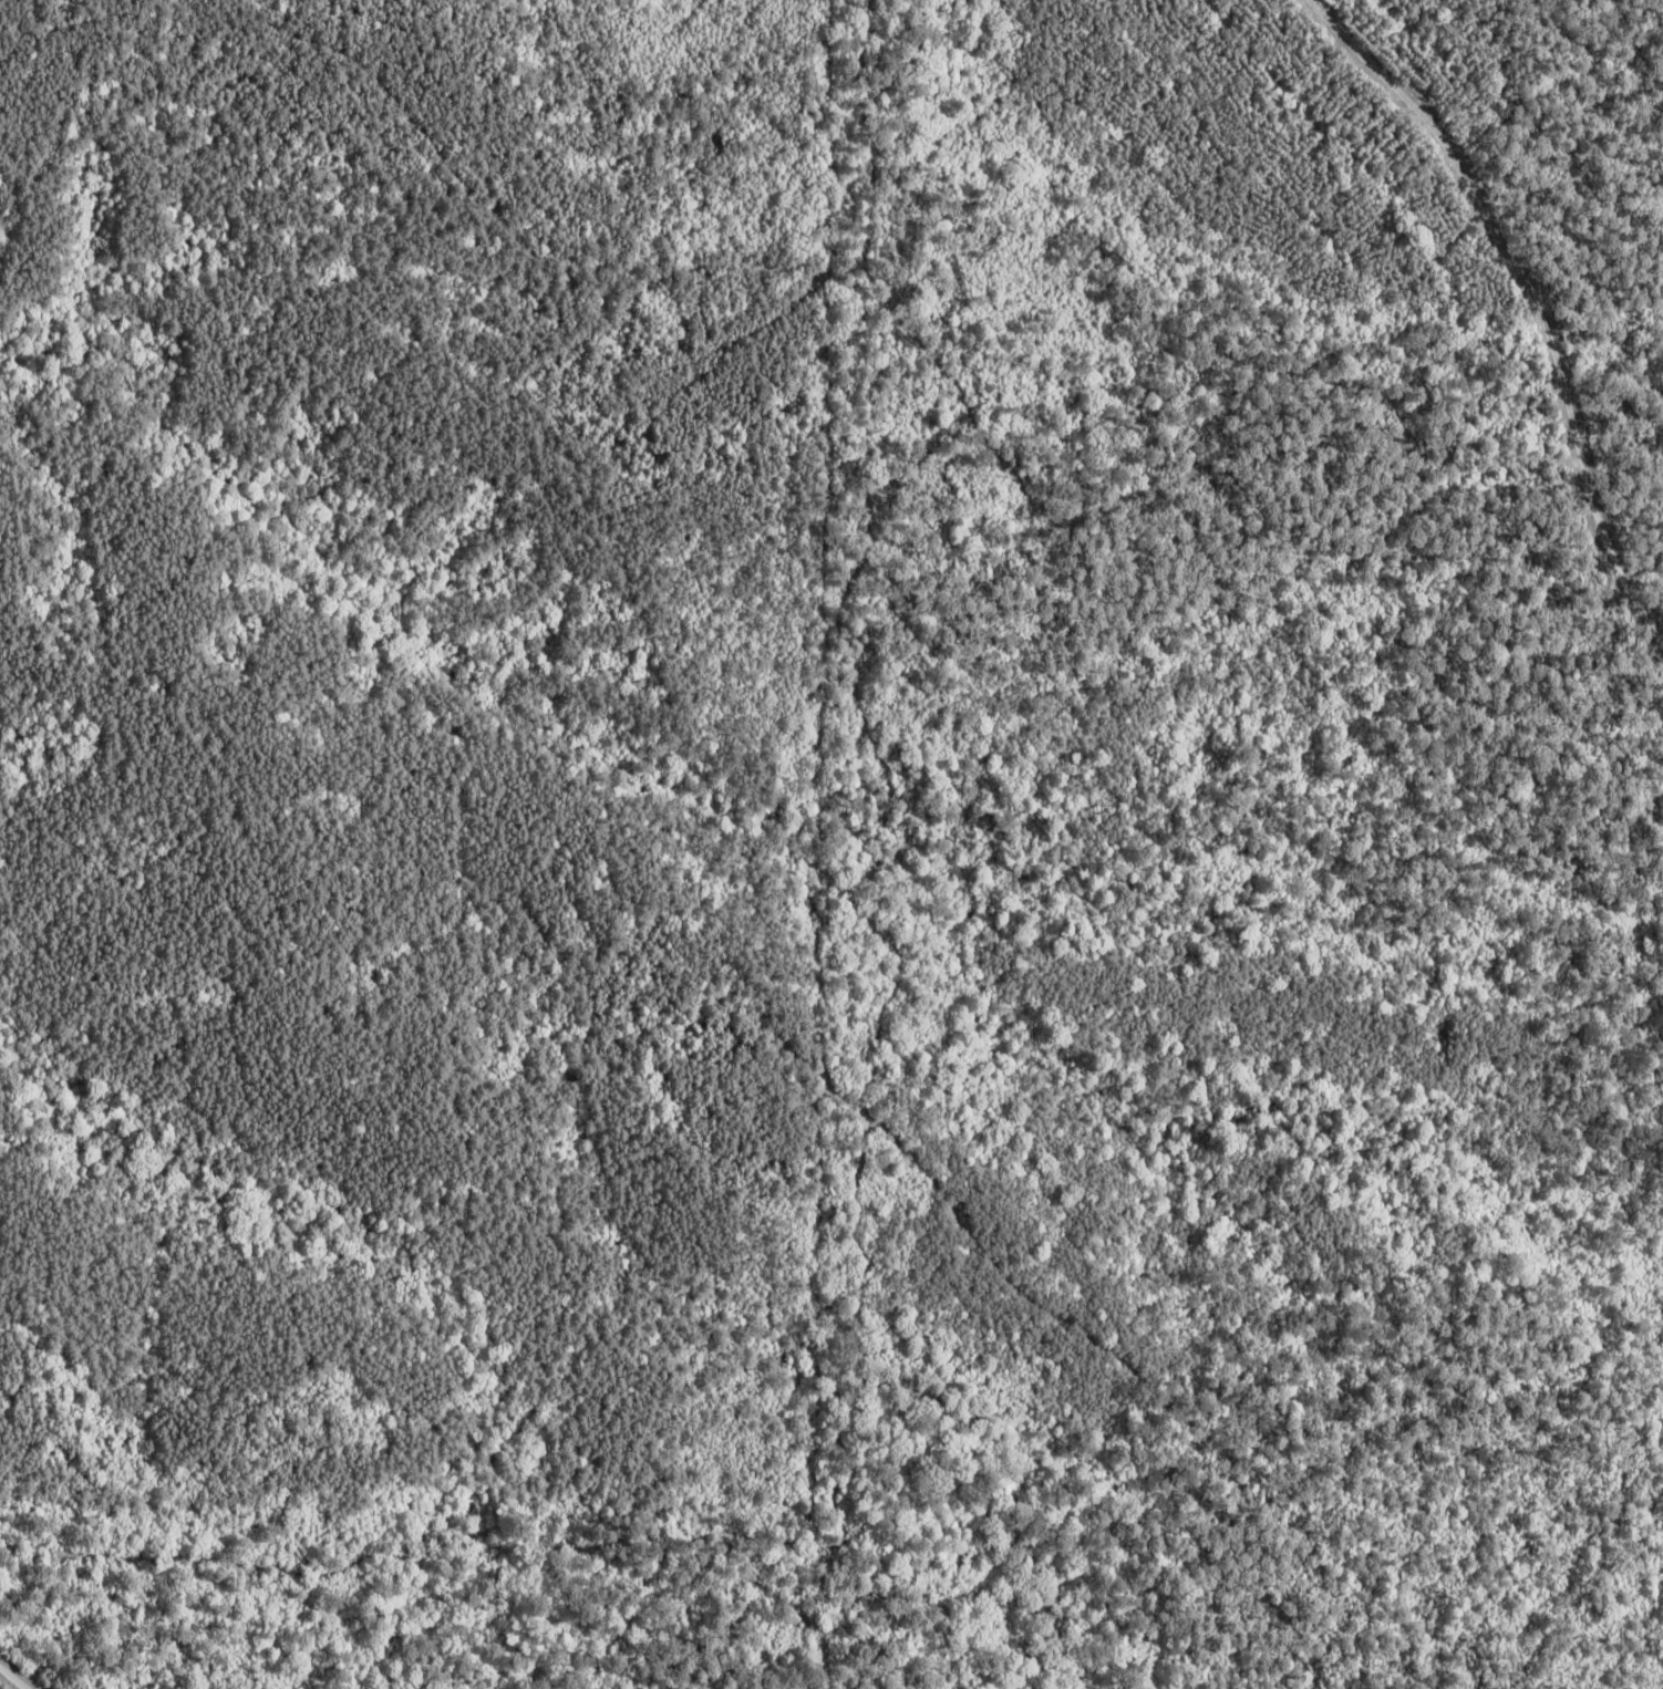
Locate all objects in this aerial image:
road: (1533, 296)
road: (12, 1678)

